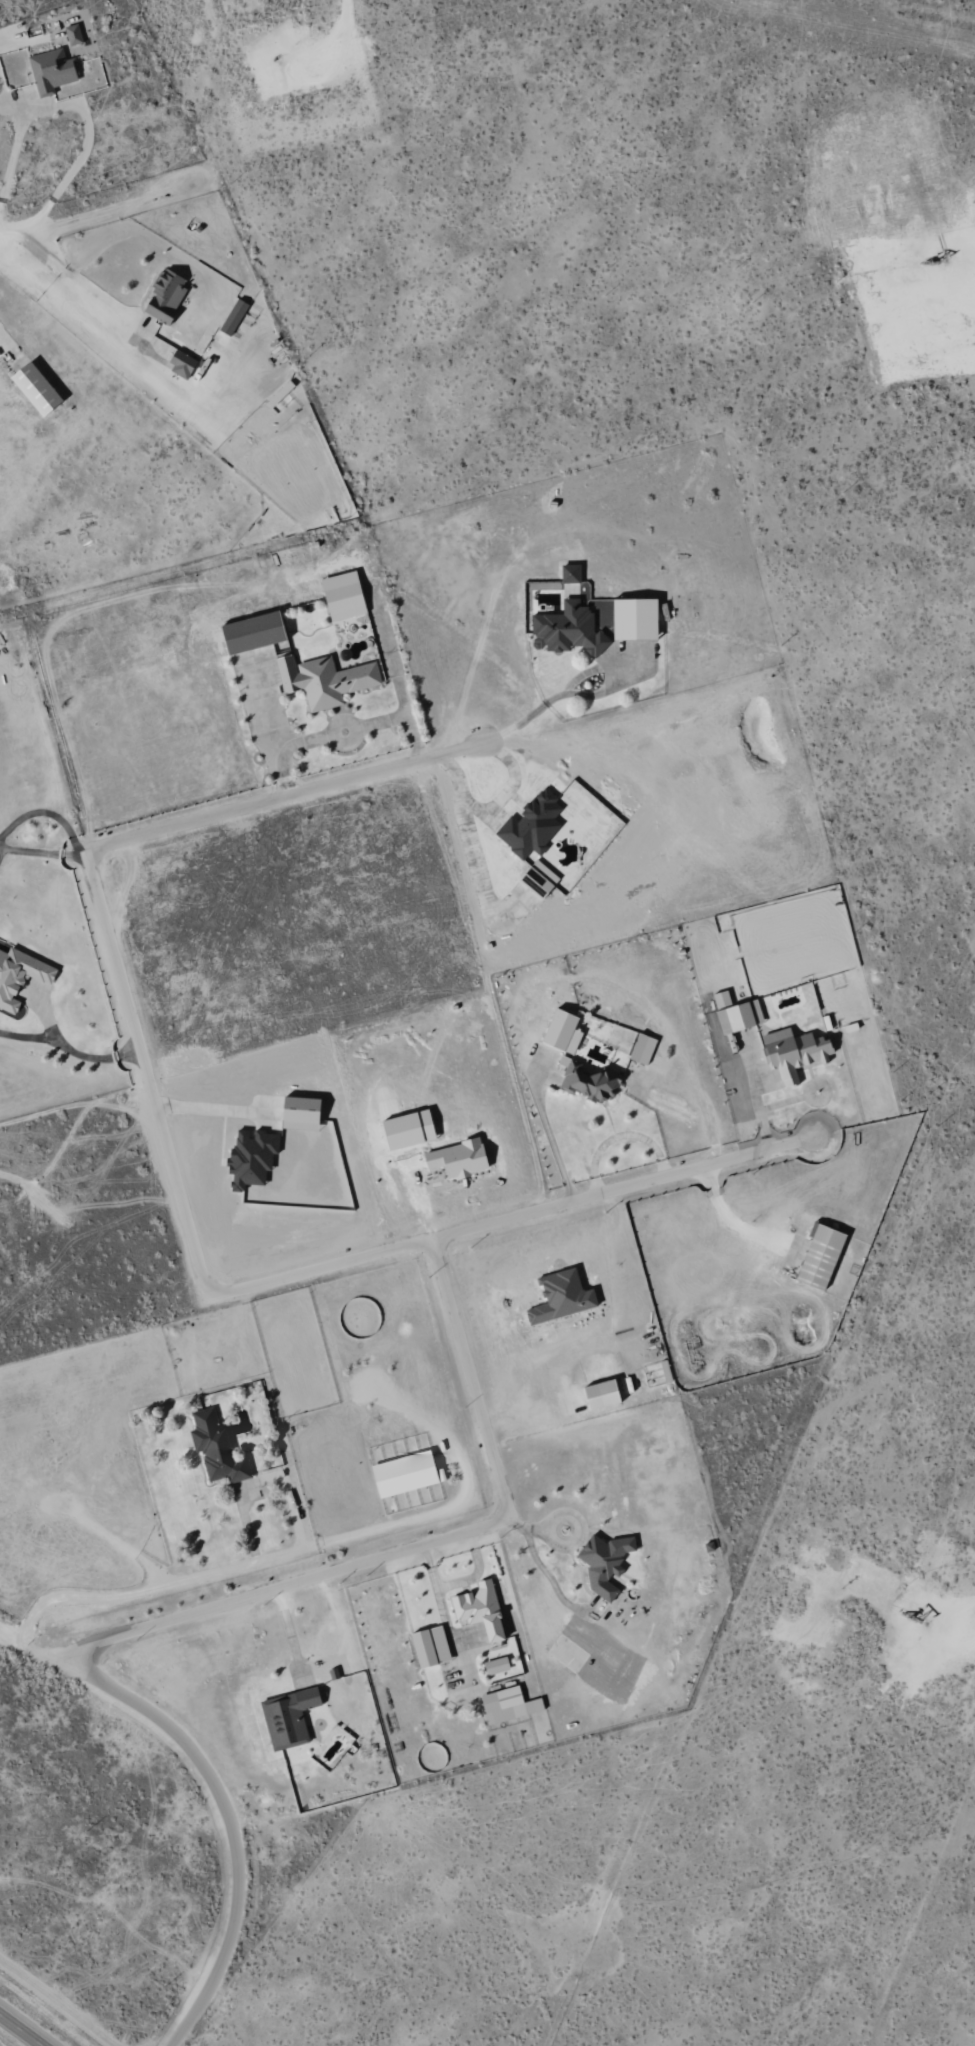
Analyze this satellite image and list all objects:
building: (74, 34)
building: (53, 70)
road: (74, 106)
road: (107, 205)
road: (1, 230)
road: (73, 278)
building: (167, 295)
building: (234, 316)
building: (183, 364)
building: (37, 388)
building: (281, 394)
building: (344, 596)
building: (636, 619)
building: (568, 620)
building: (256, 650)
building: (325, 680)
road: (580, 694)
road: (401, 717)
road: (350, 723)
road: (283, 749)
road: (284, 797)
road: (46, 813)
building: (533, 825)
building: (572, 832)
road: (40, 852)
building: (540, 879)
building: (20, 976)
building: (725, 998)
building: (741, 1017)
building: (561, 1029)
road: (69, 1048)
building: (643, 1049)
building: (794, 1053)
road: (144, 1075)
building: (589, 1081)
building: (302, 1114)
road: (549, 1133)
building: (253, 1157)
building: (459, 1159)
road: (510, 1218)
building: (822, 1256)
building: (562, 1296)
road: (468, 1382)
building: (603, 1394)
road: (535, 1415)
building: (407, 1473)
building: (606, 1562)
building: (617, 1581)
road: (282, 1587)
road: (123, 1597)
building: (482, 1609)
building: (431, 1647)
building: (497, 1666)
building: (508, 1705)
building: (290, 1718)
road: (229, 1823)
road: (21, 2029)

